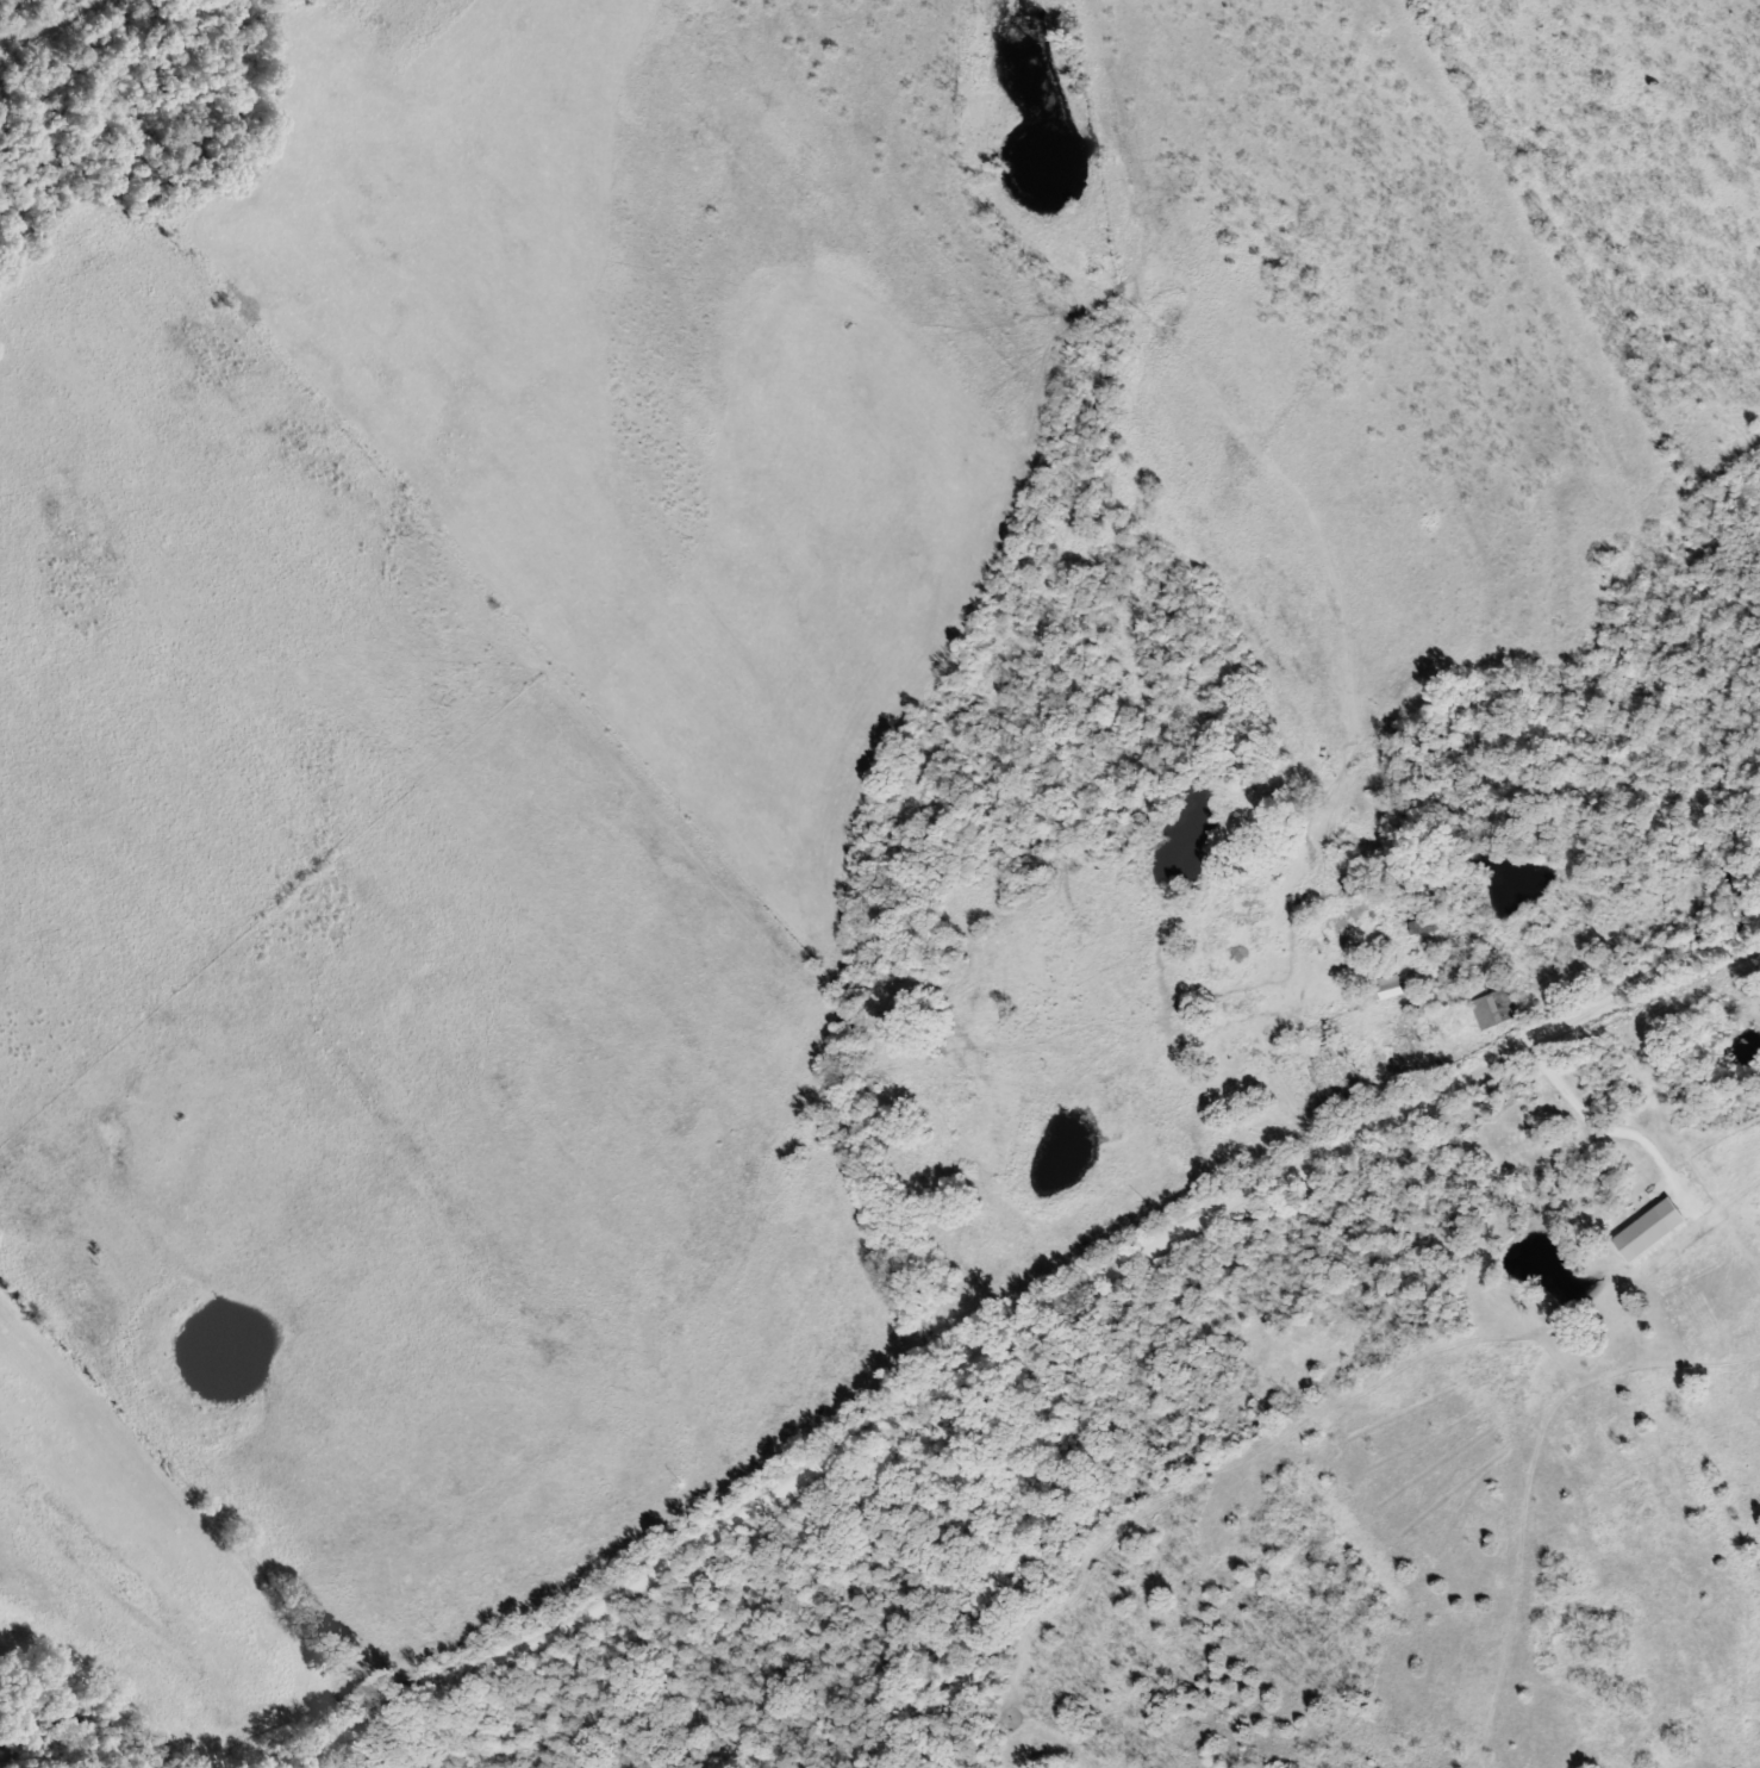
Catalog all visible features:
building: (1498, 1010)
building: (1654, 1232)
road: (882, 1432)

